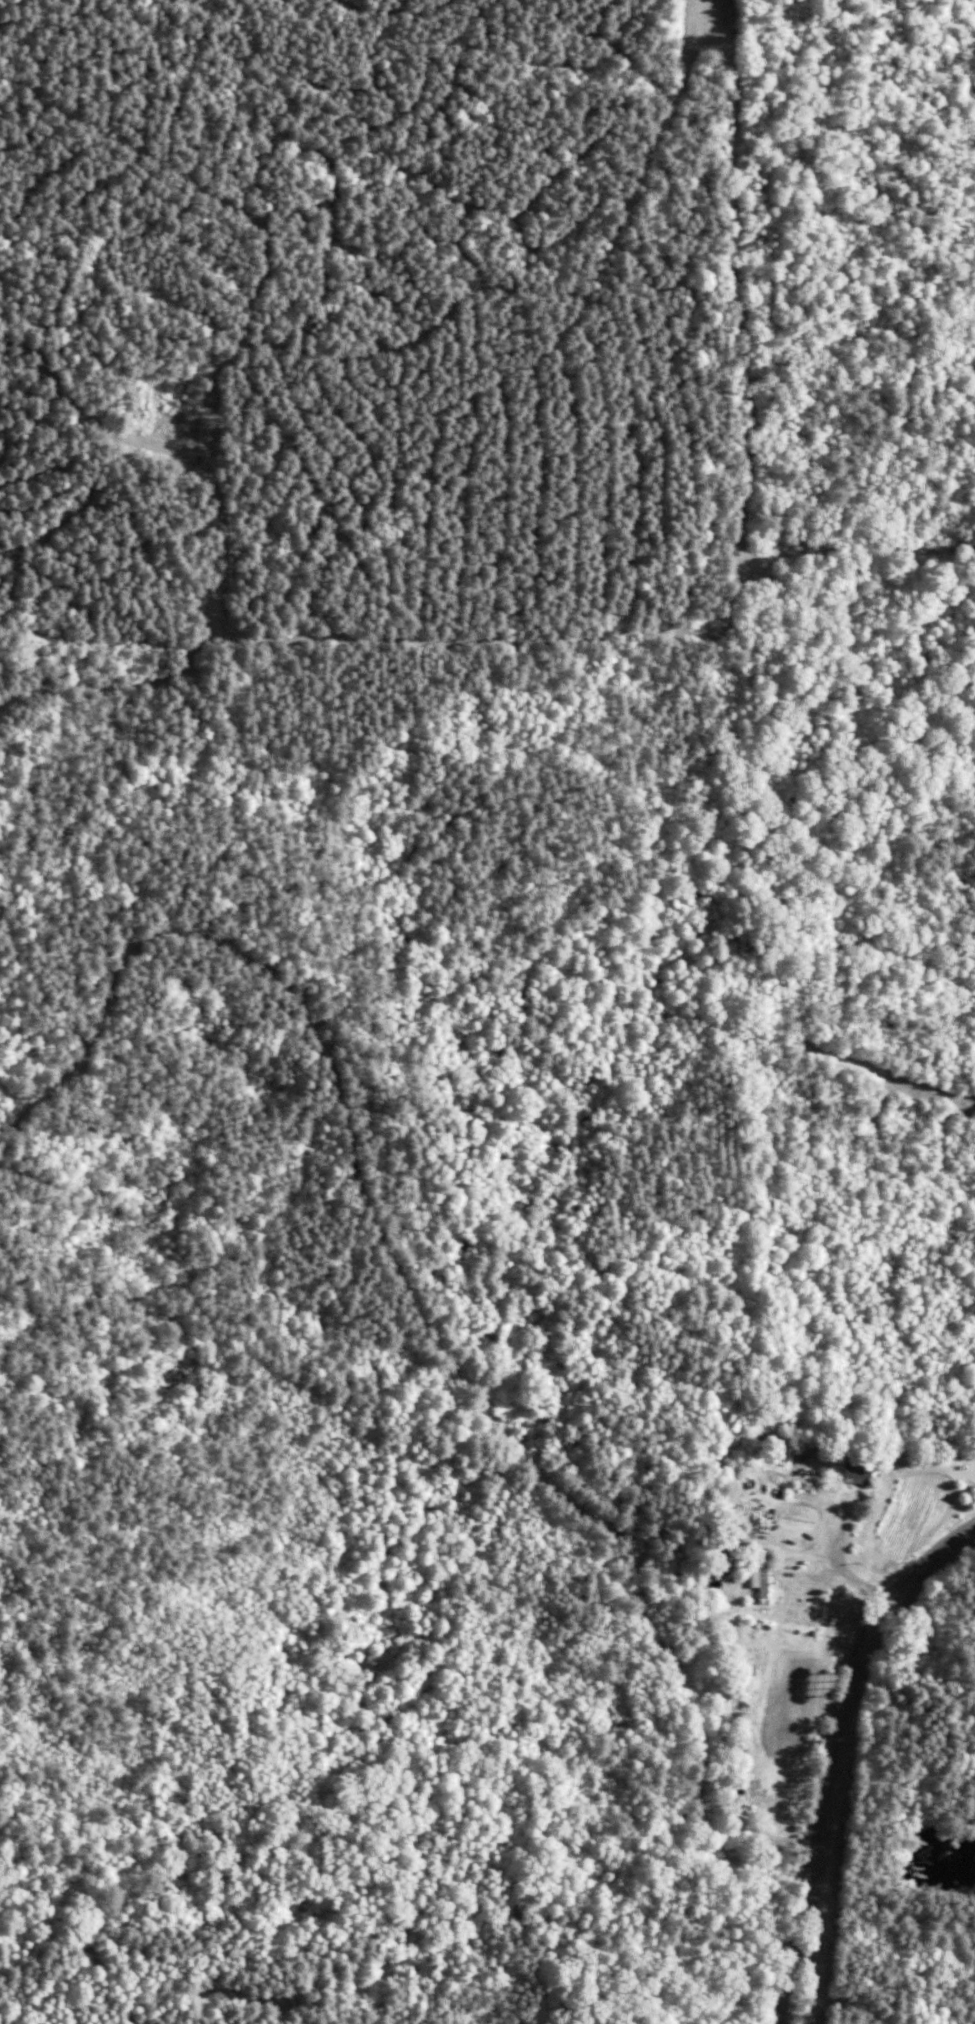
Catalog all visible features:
building: (974, 1448)
building: (860, 1470)
building: (767, 1583)
road: (831, 1750)
road: (795, 2021)

